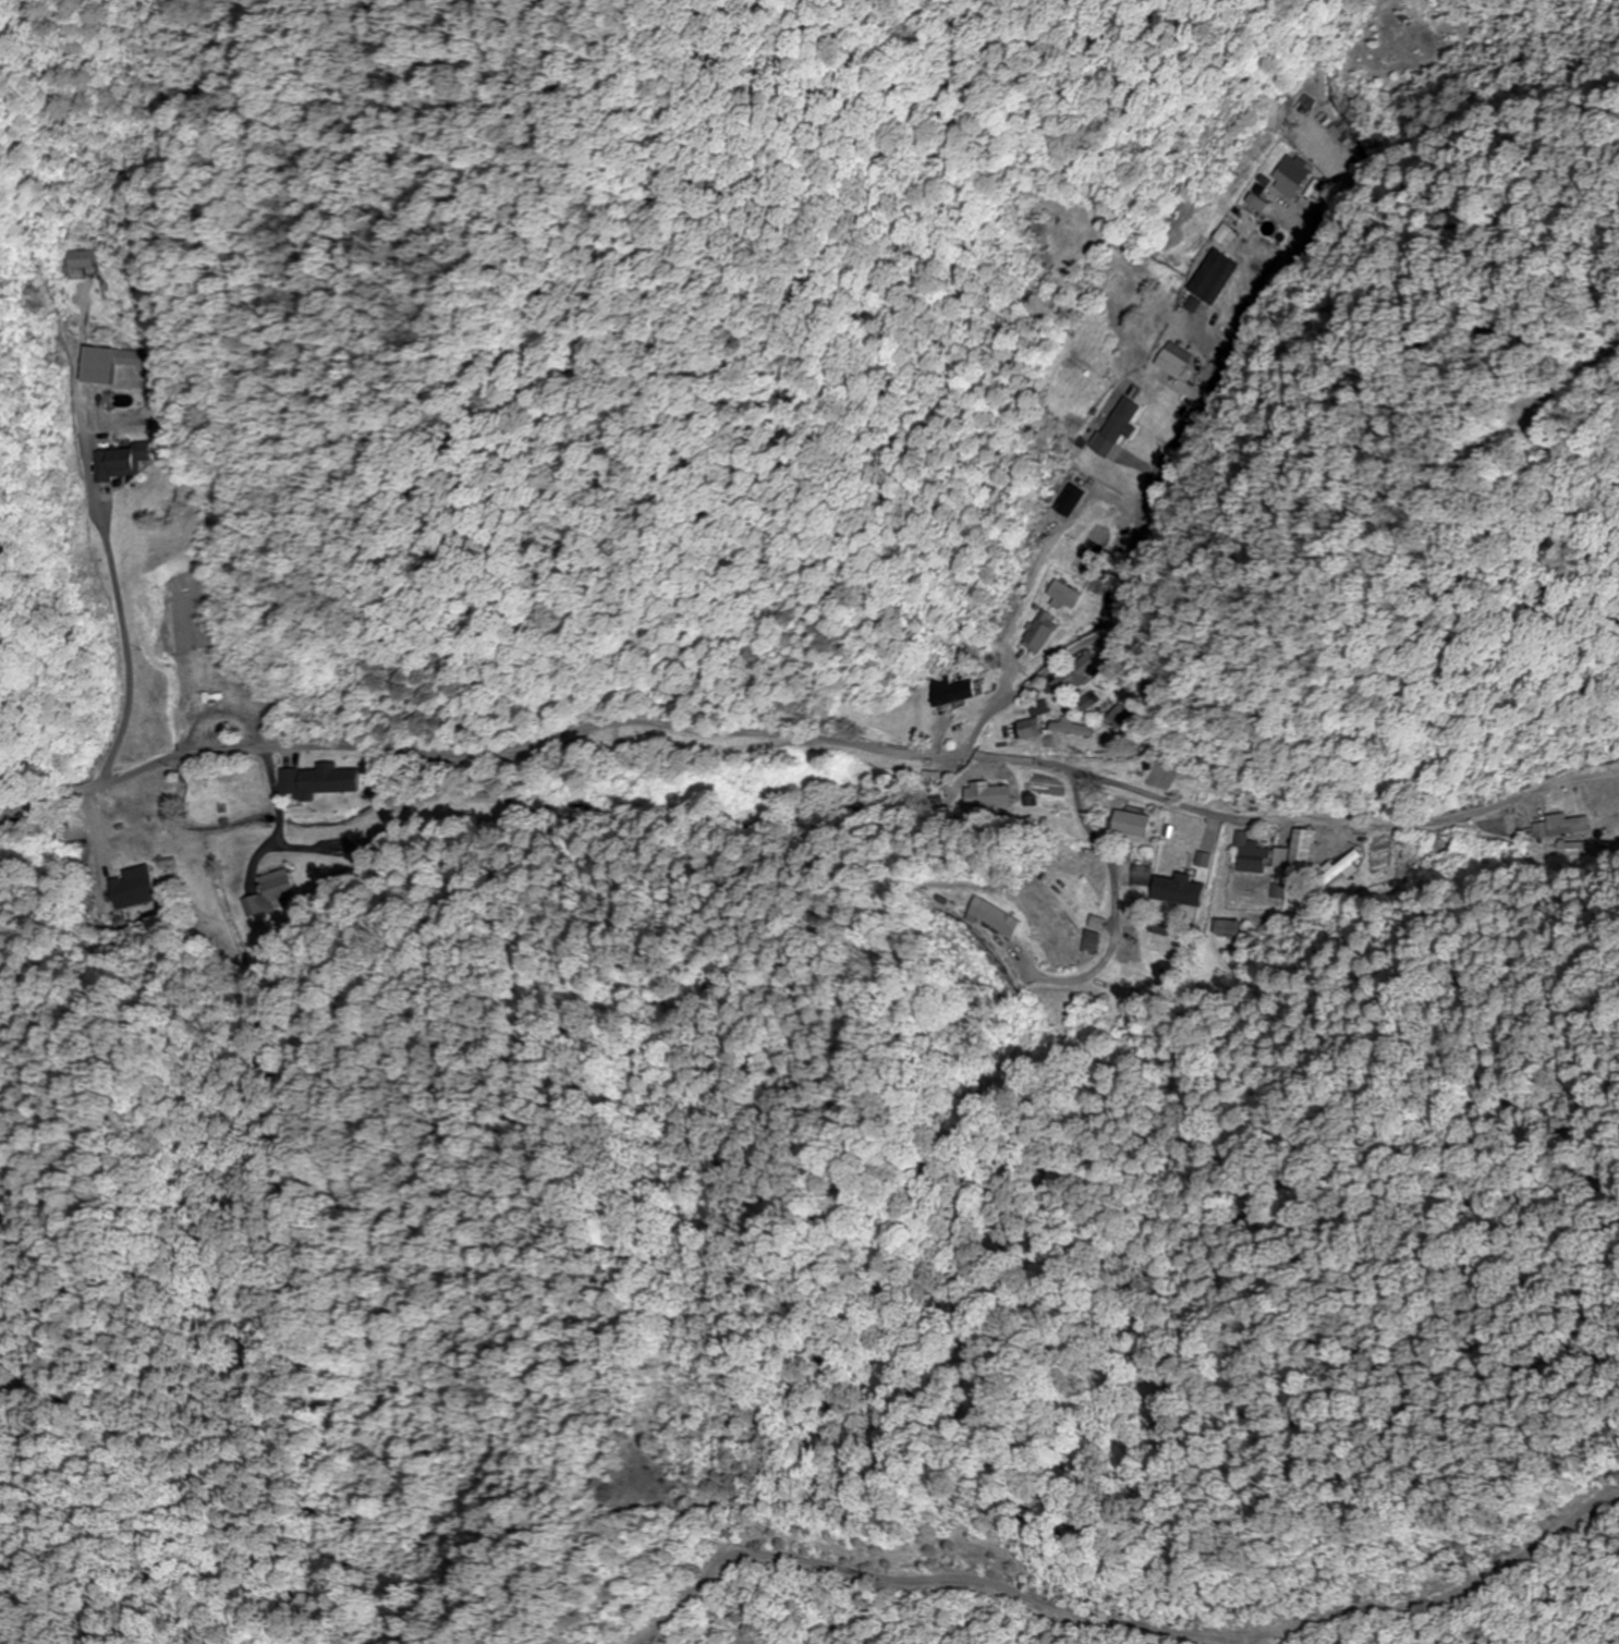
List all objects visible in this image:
building: (1289, 174)
building: (75, 259)
building: (1206, 275)
building: (1170, 360)
building: (102, 363)
building: (1115, 427)
building: (119, 462)
building: (1066, 500)
road: (1115, 562)
building: (1063, 594)
building: (1039, 632)
road: (1098, 643)
building: (1075, 675)
building: (948, 691)
road: (1011, 706)
building: (1032, 729)
road: (599, 730)
building: (1134, 824)
building: (1251, 856)
building: (1295, 856)
building: (1146, 875)
building: (135, 887)
building: (276, 890)
building: (1079, 899)
building: (1007, 920)
building: (1101, 923)
building: (1231, 927)
building: (1170, 938)
building: (1097, 941)

